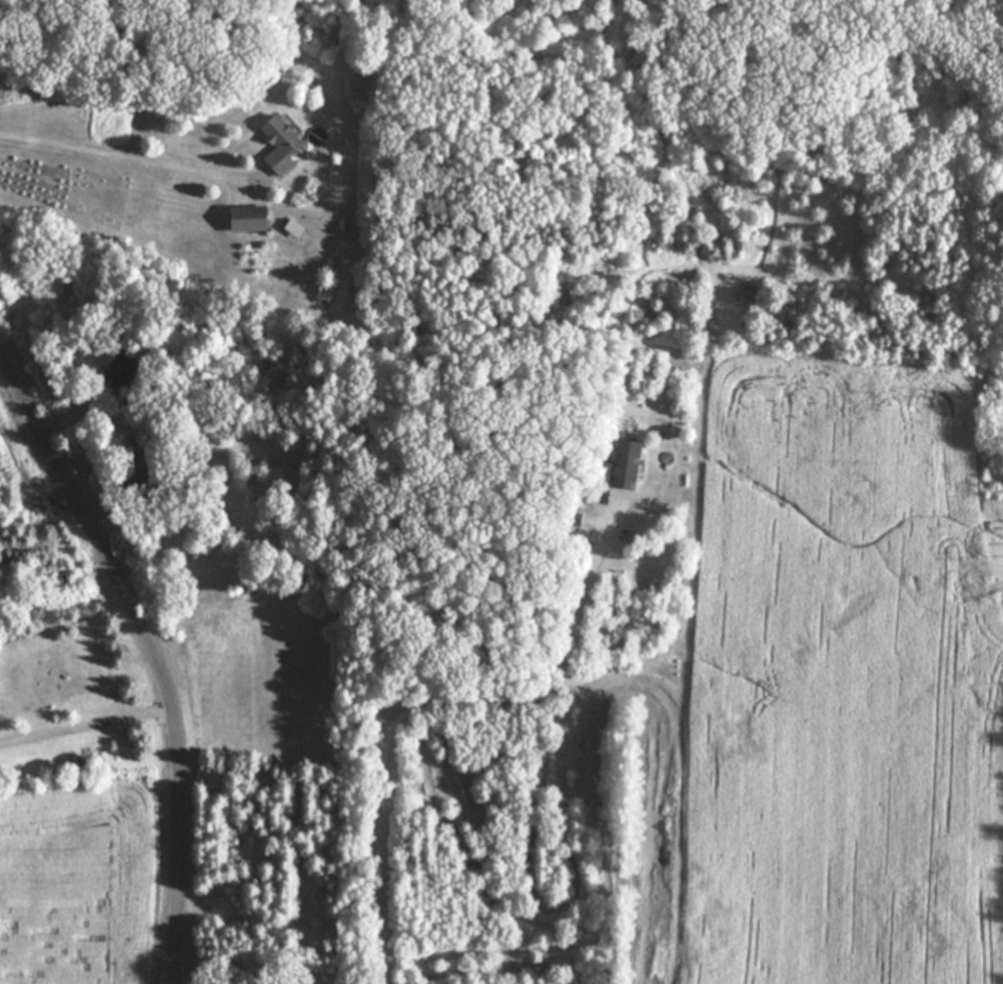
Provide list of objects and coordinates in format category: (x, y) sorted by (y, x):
building: (283, 143)
road: (122, 158)
building: (250, 218)
building: (122, 370)
road: (58, 416)
building: (628, 464)
road: (154, 651)
road: (428, 704)
road: (86, 727)

